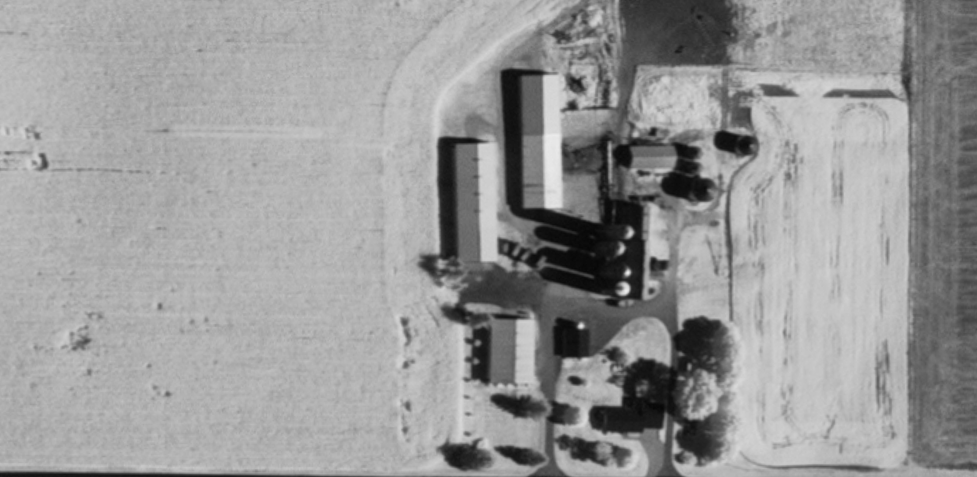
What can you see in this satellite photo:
building: (527, 141)
building: (642, 156)
building: (462, 203)
building: (625, 248)
road: (545, 297)
road: (668, 334)
building: (569, 343)
building: (501, 351)
building: (628, 418)
road: (34, 476)

